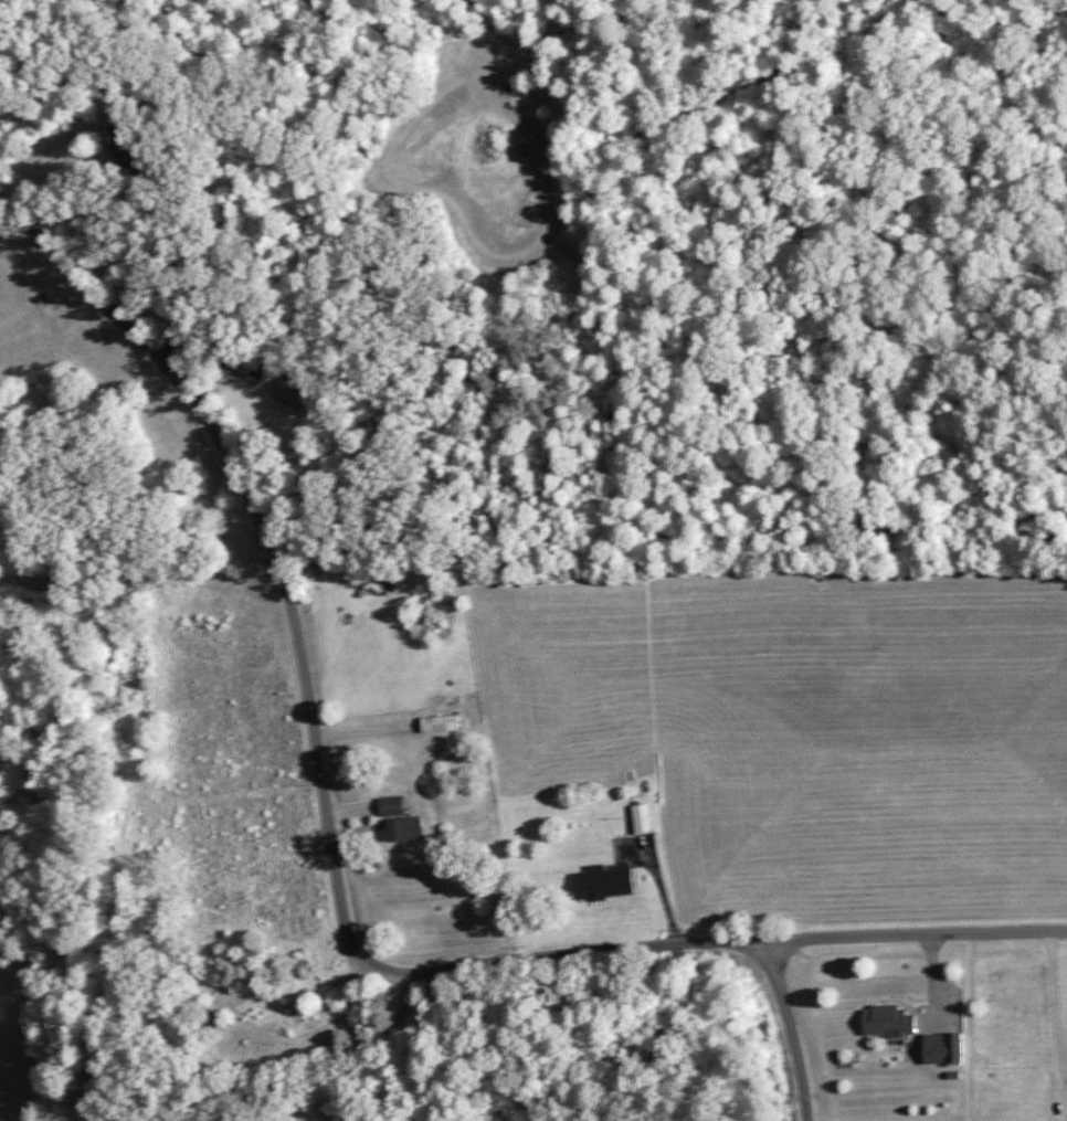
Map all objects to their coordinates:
building: (540, 86)
building: (286, 395)
road: (283, 573)
building: (436, 722)
building: (638, 817)
building: (397, 819)
building: (599, 881)
road: (754, 939)
building: (201, 1019)
building: (884, 1019)
road: (788, 1028)
road: (392, 1044)
building: (939, 1048)

